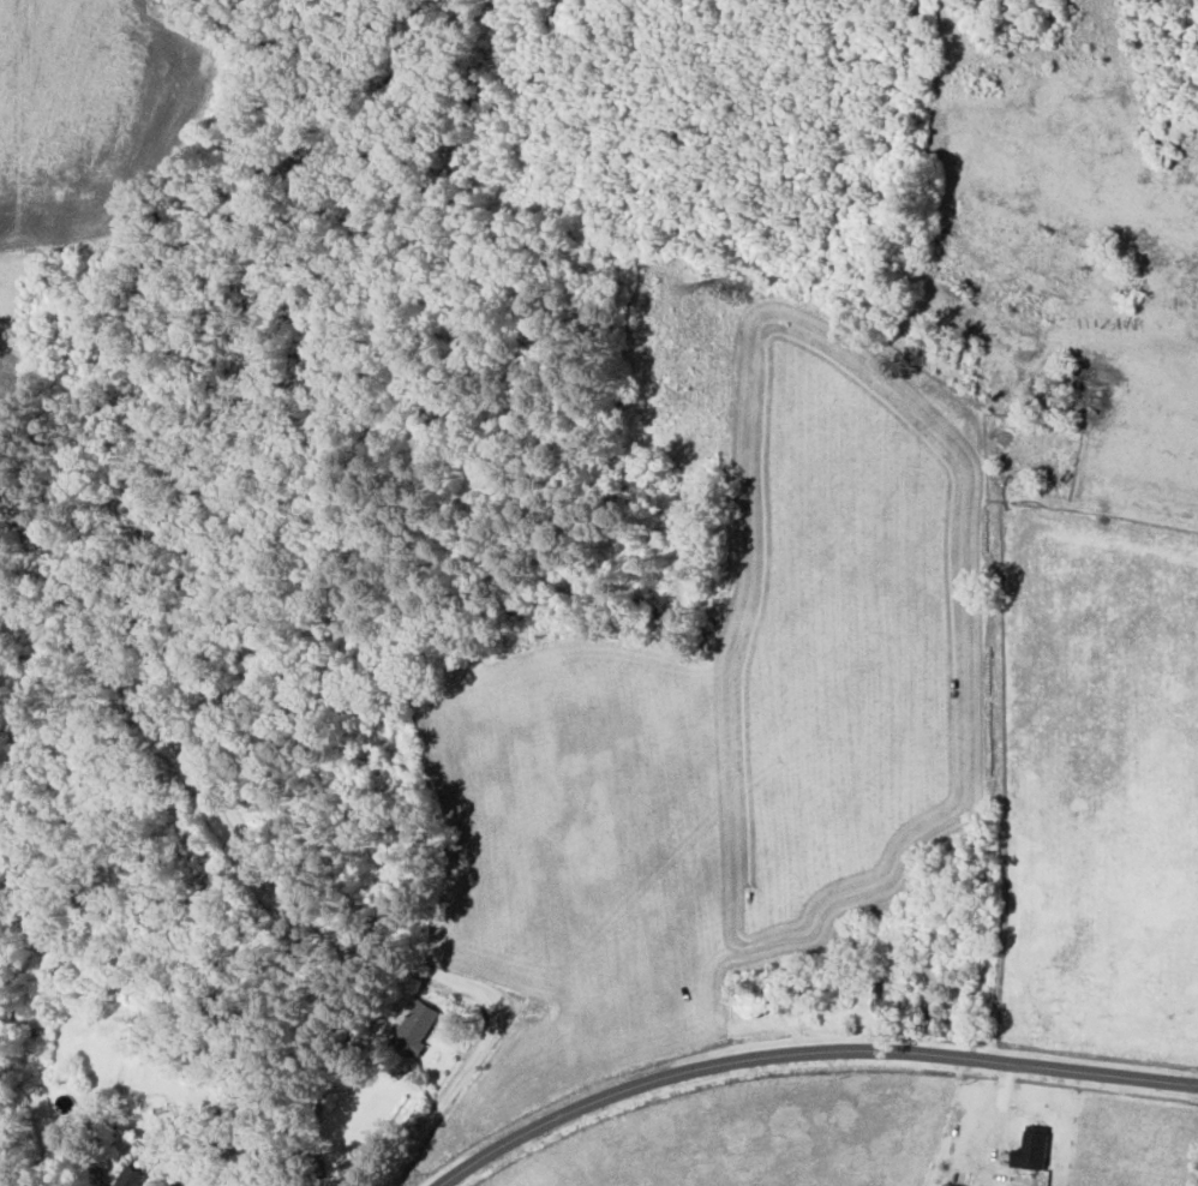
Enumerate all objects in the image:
road: (296, 898)
building: (413, 1026)
road: (804, 1054)
building: (1030, 1150)
building: (127, 1176)
building: (948, 1185)

